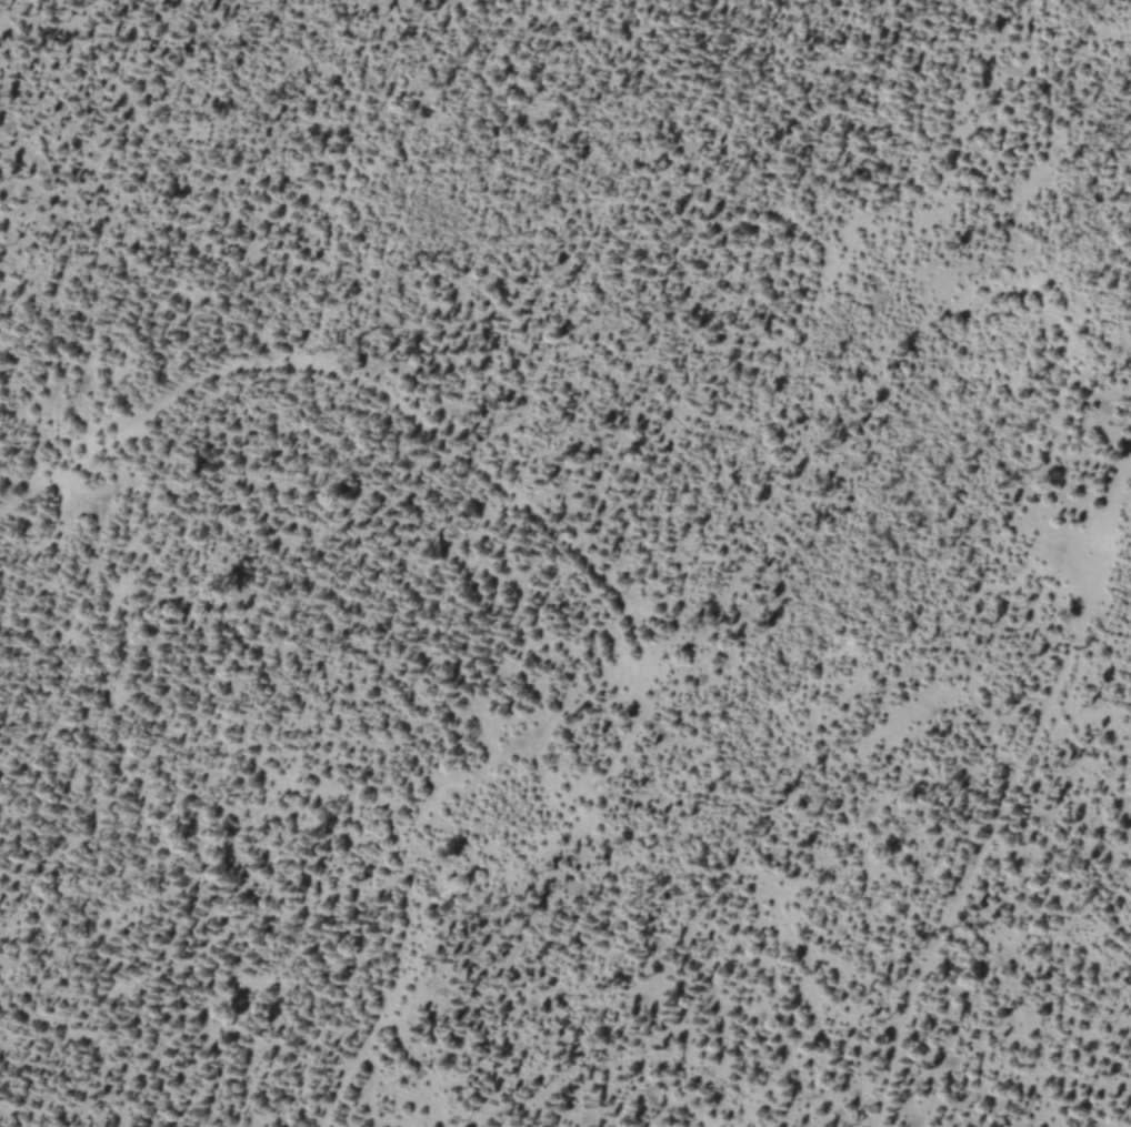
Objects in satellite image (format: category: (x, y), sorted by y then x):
road: (1033, 763)

